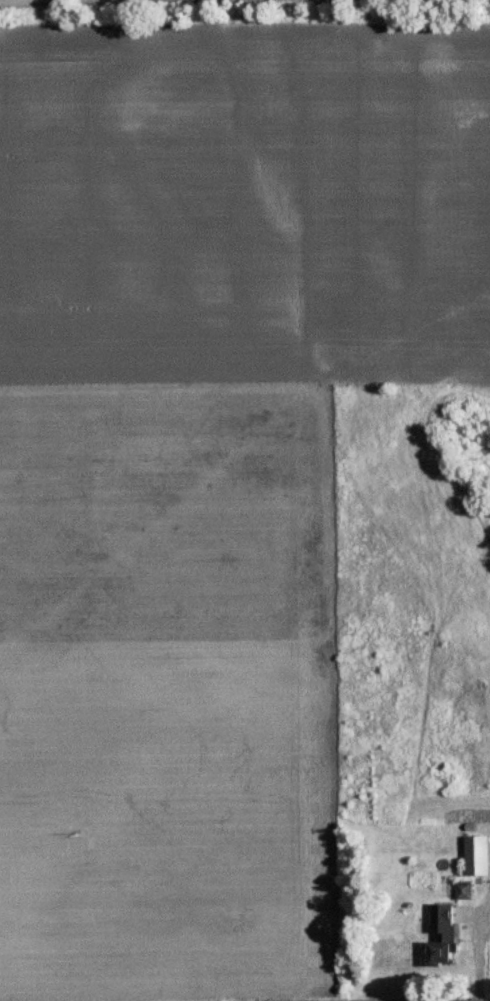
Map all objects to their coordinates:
building: (474, 854)
building: (461, 889)
building: (439, 931)

